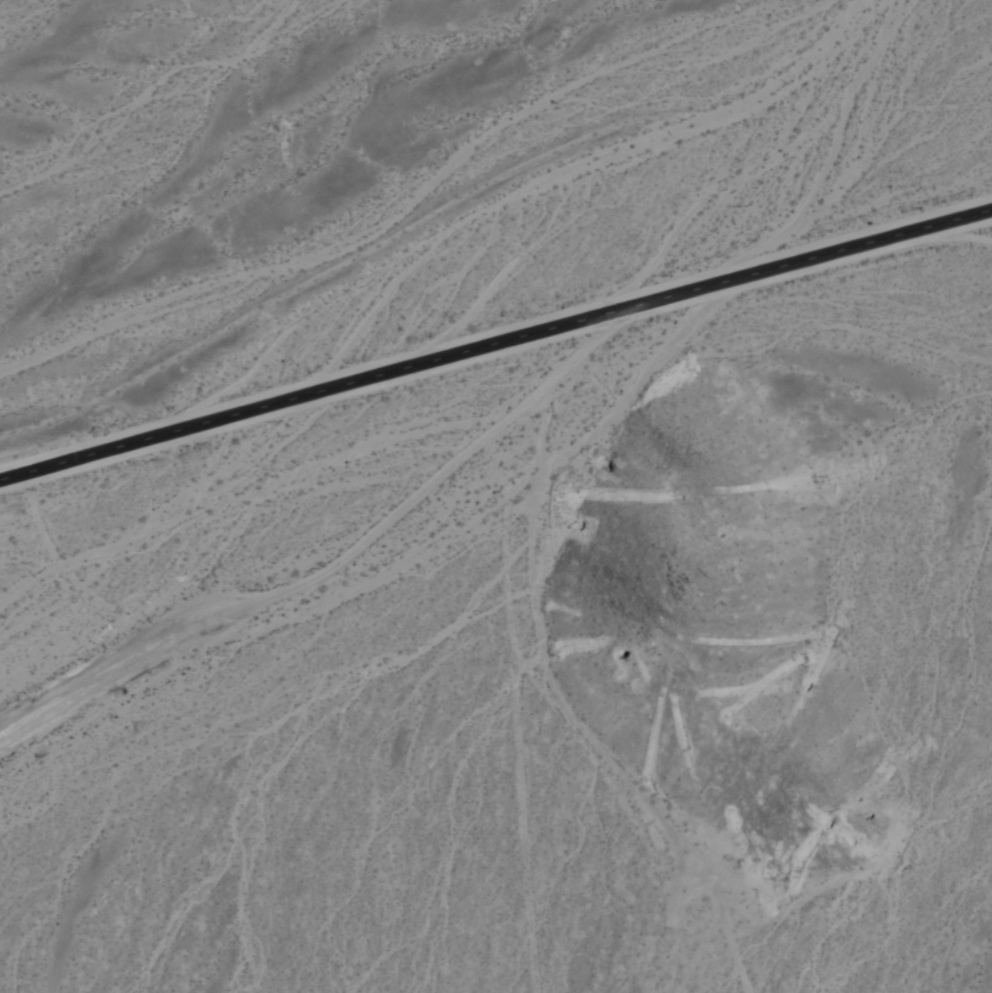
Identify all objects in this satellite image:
road: (495, 341)
road: (447, 479)
road: (548, 628)
quarry: (728, 637)
road: (114, 679)
road: (529, 815)
road: (701, 947)

